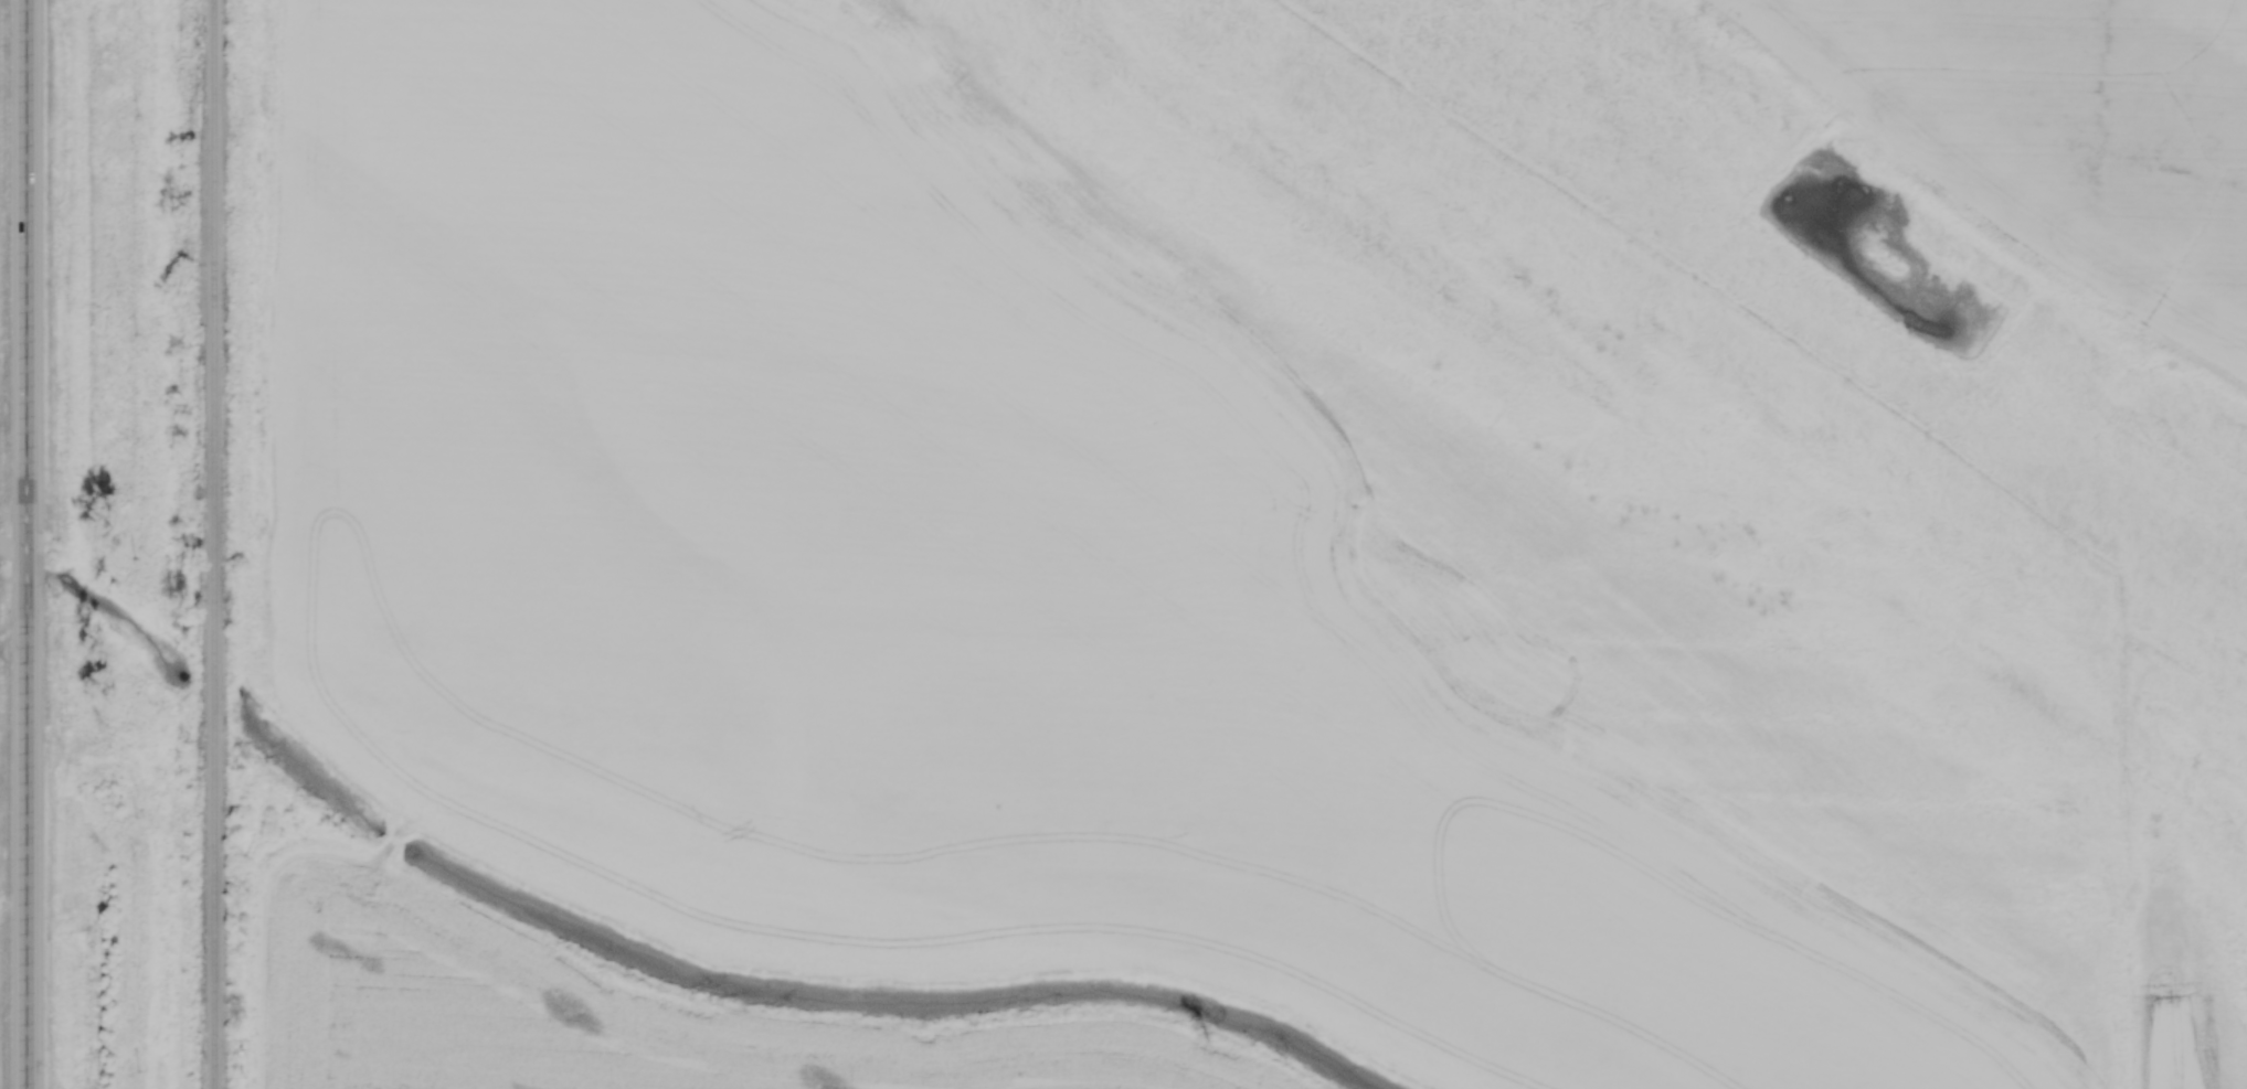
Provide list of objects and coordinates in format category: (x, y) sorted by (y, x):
road: (27, 544)
railway: (214, 544)

